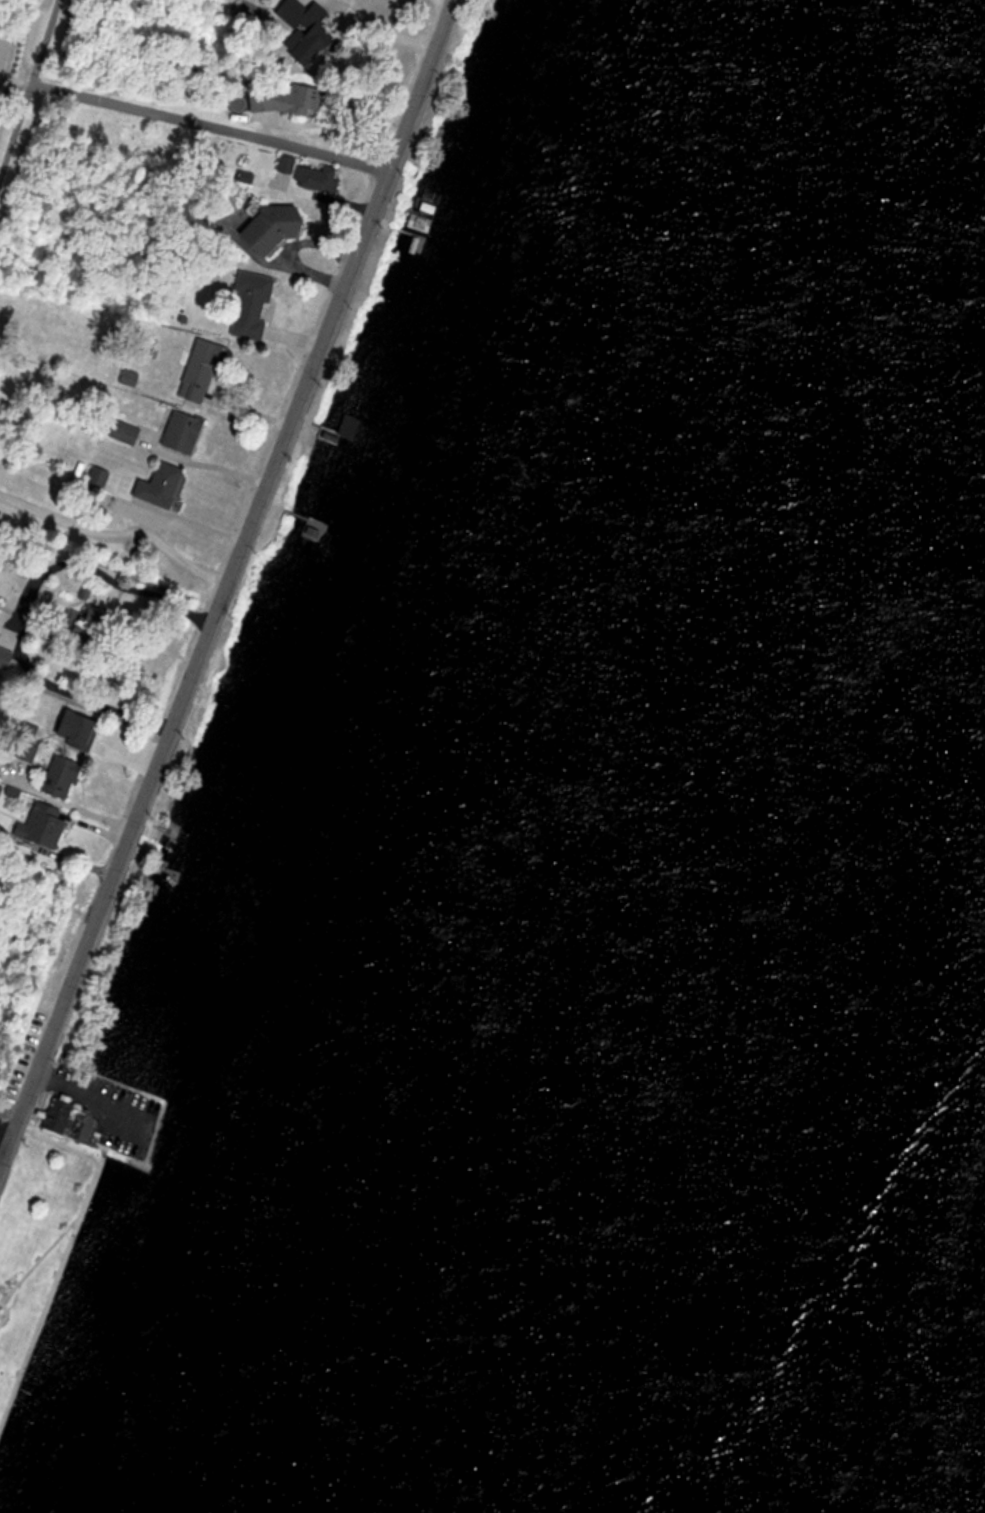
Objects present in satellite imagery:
road: (376, 23)
road: (27, 90)
road: (328, 126)
road: (204, 467)
road: (220, 581)
road: (143, 592)
park: (22, 926)
building: (68, 1127)
road: (5, 1135)
river: (907, 1332)

